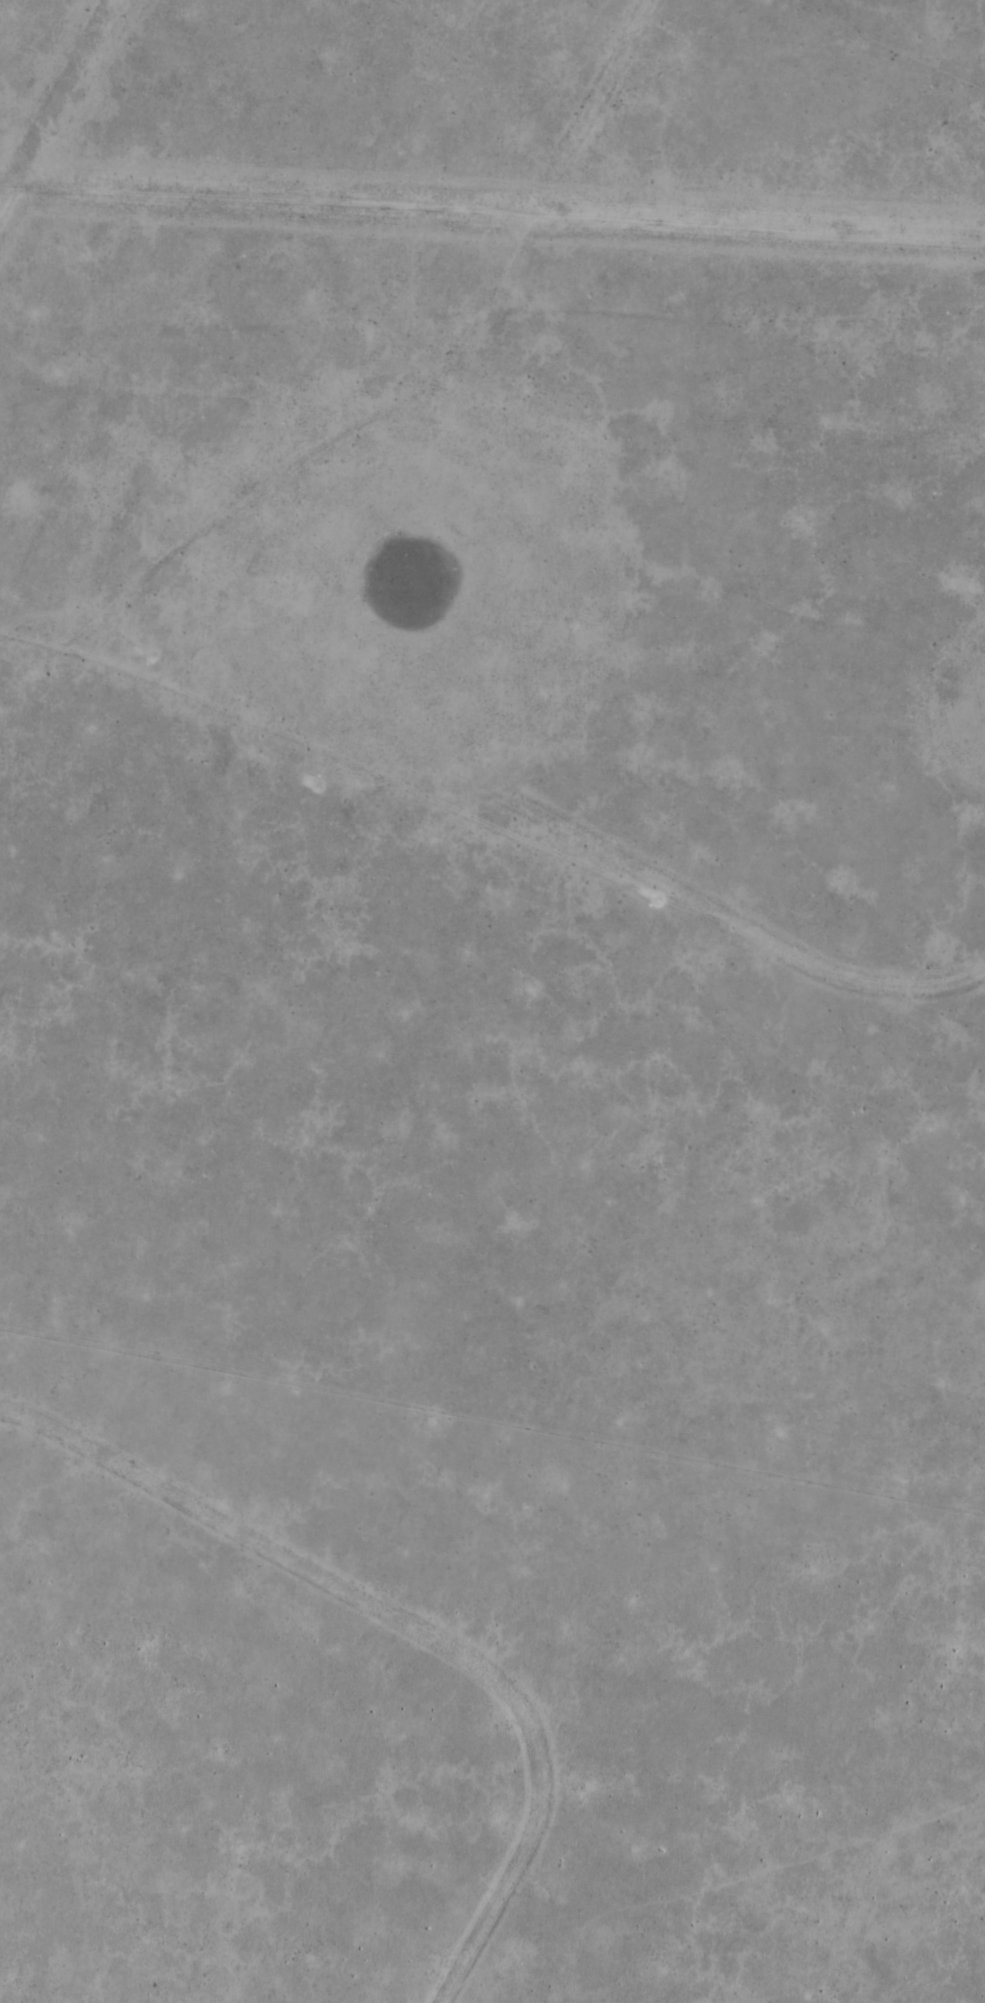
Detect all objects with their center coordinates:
airport runway: (58, 110)
airport runway: (492, 217)
road: (437, 387)
road: (460, 808)
road: (922, 987)
road: (951, 1011)
road: (414, 1624)

